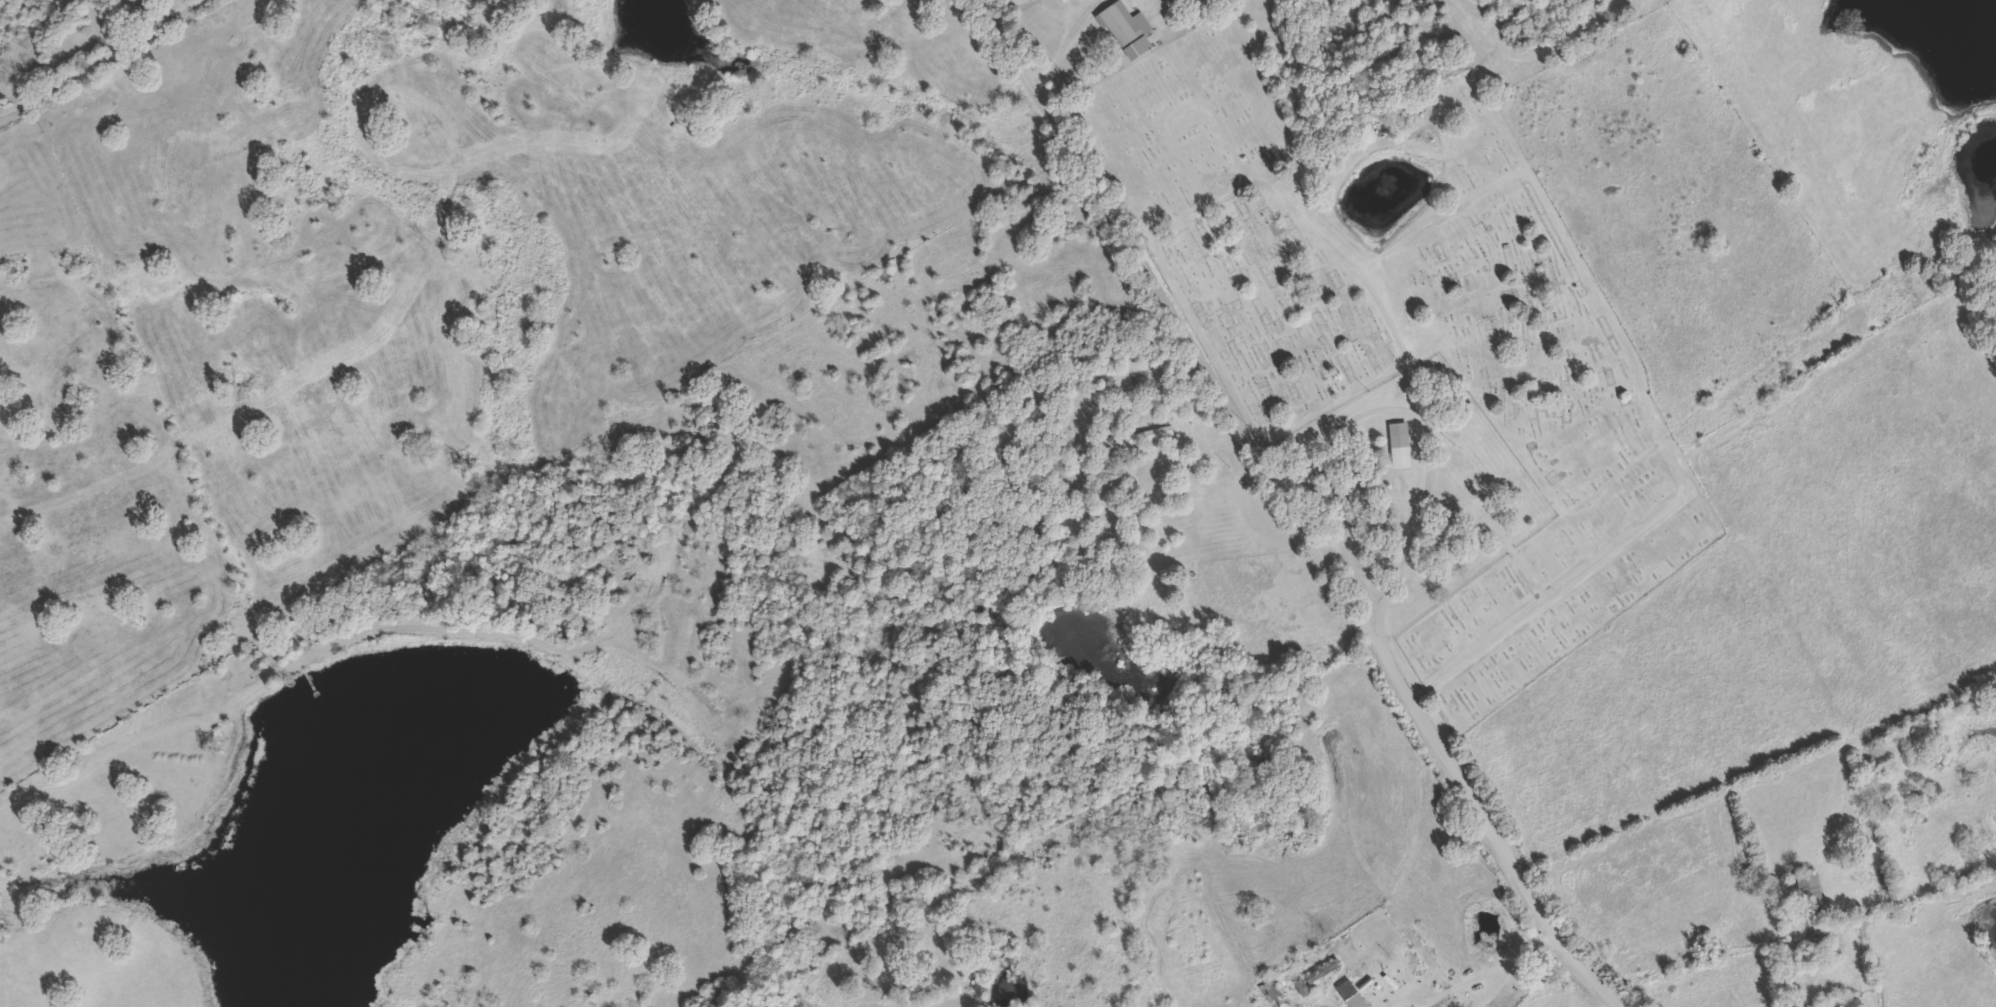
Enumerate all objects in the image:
building: (1123, 23)
road: (1065, 39)
road: (96, 58)
road: (1357, 265)
park: (1406, 351)
building: (1400, 444)
road: (1309, 491)
road: (1294, 510)
road: (74, 761)
building: (1810, 893)
road: (1852, 940)
road: (1507, 962)
building: (1324, 970)
building: (1353, 996)

